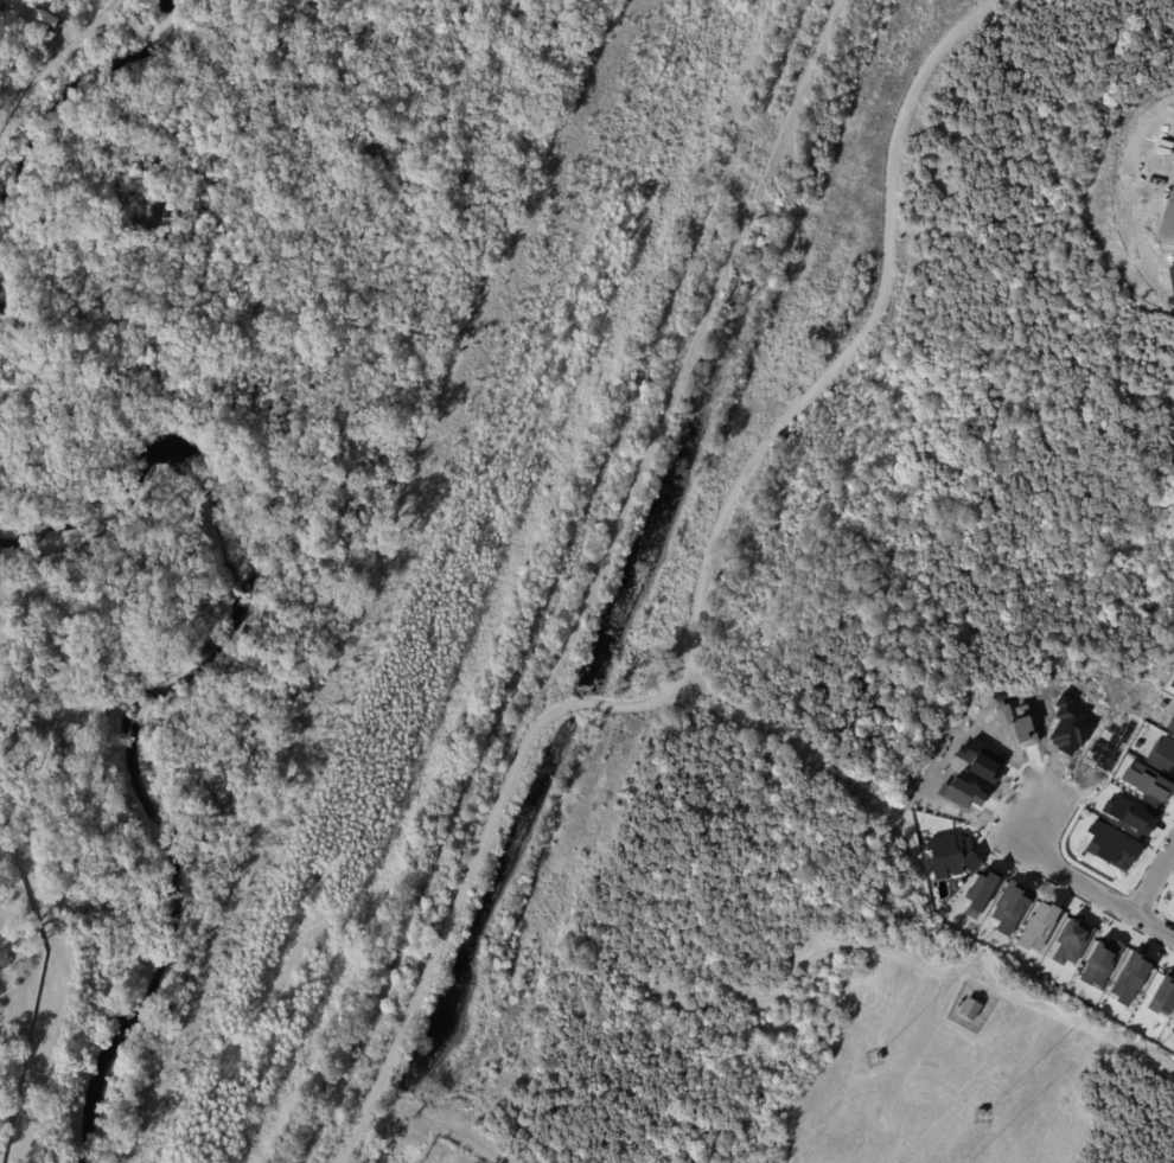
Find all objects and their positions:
building: (57, 1)
building: (47, 18)
road: (696, 612)
building: (1111, 845)
building: (949, 855)
road: (1154, 871)
road: (1087, 876)
building: (969, 1010)
building: (1172, 1028)
building: (876, 1059)
building: (978, 1113)

